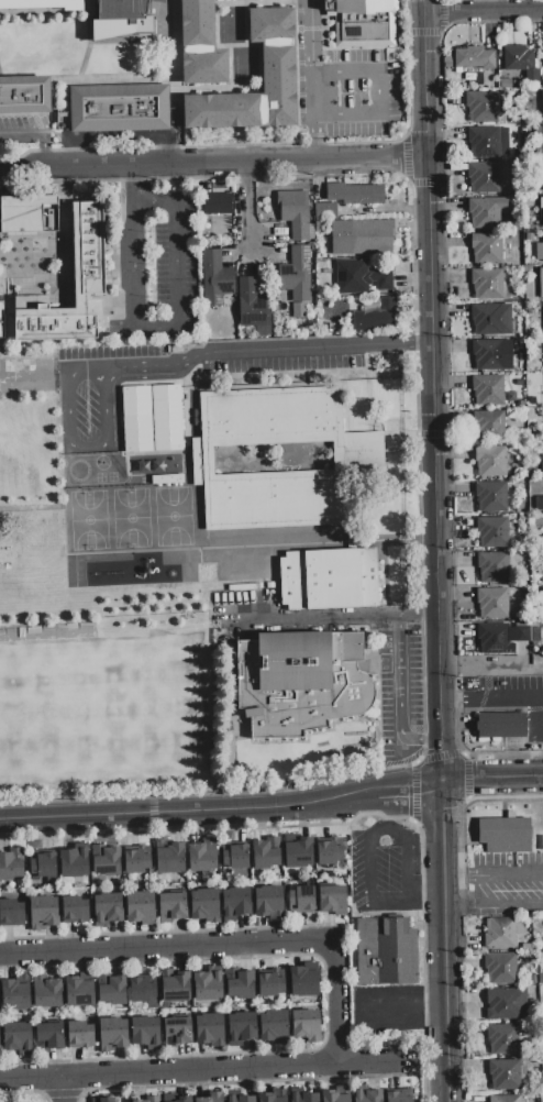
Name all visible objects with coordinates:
building: (42, 4)
road: (483, 12)
building: (363, 21)
building: (124, 23)
building: (202, 45)
building: (474, 58)
building: (542, 58)
road: (312, 59)
building: (518, 59)
building: (280, 67)
building: (505, 82)
road: (380, 91)
building: (25, 96)
building: (542, 104)
building: (481, 107)
building: (121, 109)
building: (516, 119)
building: (536, 119)
building: (516, 128)
road: (38, 132)
road: (315, 140)
building: (542, 140)
building: (484, 142)
building: (513, 152)
road: (213, 162)
building: (542, 173)
building: (484, 177)
road: (135, 181)
building: (354, 194)
road: (247, 202)
building: (217, 203)
building: (325, 211)
building: (487, 211)
building: (541, 211)
building: (295, 213)
building: (29, 216)
building: (370, 236)
building: (530, 236)
building: (88, 247)
building: (486, 249)
building: (539, 252)
road: (136, 264)
road: (177, 264)
building: (529, 269)
building: (297, 275)
building: (215, 278)
building: (359, 278)
building: (541, 282)
building: (487, 284)
building: (530, 290)
building: (517, 294)
road: (432, 306)
building: (253, 307)
building: (299, 310)
building: (377, 318)
building: (491, 319)
building: (0, 321)
building: (540, 344)
road: (268, 349)
building: (522, 353)
building: (487, 354)
road: (86, 365)
building: (533, 377)
building: (519, 383)
building: (487, 389)
building: (540, 396)
building: (511, 397)
building: (520, 405)
building: (173, 410)
building: (135, 412)
building: (488, 427)
road: (87, 447)
building: (542, 458)
building: (357, 459)
building: (490, 461)
building: (535, 485)
building: (490, 496)
building: (538, 503)
building: (492, 532)
building: (492, 567)
building: (329, 580)
building: (492, 603)
road: (336, 618)
building: (522, 633)
building: (536, 635)
building: (494, 638)
road: (491, 663)
building: (299, 683)
road: (399, 684)
road: (461, 701)
parking lot: (510, 701)
road: (512, 701)
park: (99, 714)
road: (540, 718)
building: (501, 725)
road: (492, 776)
road: (408, 789)
road: (186, 813)
building: (505, 835)
road: (372, 841)
building: (330, 851)
building: (266, 852)
building: (299, 852)
building: (203, 856)
building: (236, 857)
road: (444, 857)
building: (170, 858)
building: (137, 860)
building: (74, 862)
building: (108, 862)
building: (11, 864)
building: (43, 864)
parking lot: (385, 869)
road: (494, 872)
parking lot: (505, 884)
building: (301, 900)
building: (332, 900)
road: (424, 900)
building: (268, 902)
road: (499, 902)
building: (235, 903)
building: (206, 905)
building: (141, 907)
building: (171, 907)
building: (108, 908)
building: (75, 911)
building: (43, 912)
building: (11, 913)
building: (499, 933)
road: (228, 948)
building: (386, 950)
building: (500, 968)
building: (540, 979)
building: (533, 980)
building: (303, 982)
building: (270, 984)
building: (208, 985)
building: (242, 985)
building: (176, 988)
building: (142, 990)
building: (113, 991)
building: (14, 992)
building: (47, 992)
building: (79, 992)
building: (506, 1003)
road: (403, 1007)
parking lot: (388, 1009)
building: (307, 1025)
building: (242, 1027)
building: (274, 1027)
building: (210, 1029)
building: (146, 1032)
building: (177, 1032)
building: (80, 1035)
building: (112, 1035)
building: (48, 1037)
building: (18, 1038)
building: (502, 1039)
road: (432, 1064)
road: (207, 1072)
building: (503, 1075)
road: (69, 1090)
building: (336, 1094)
park: (26, 1095)
building: (367, 1095)
building: (399, 1095)
building: (273, 1097)
building: (304, 1097)
building: (210, 1098)
building: (151, 1099)
building: (182, 1099)
building: (241, 1099)
building: (505, 1099)
building: (106, 1100)

